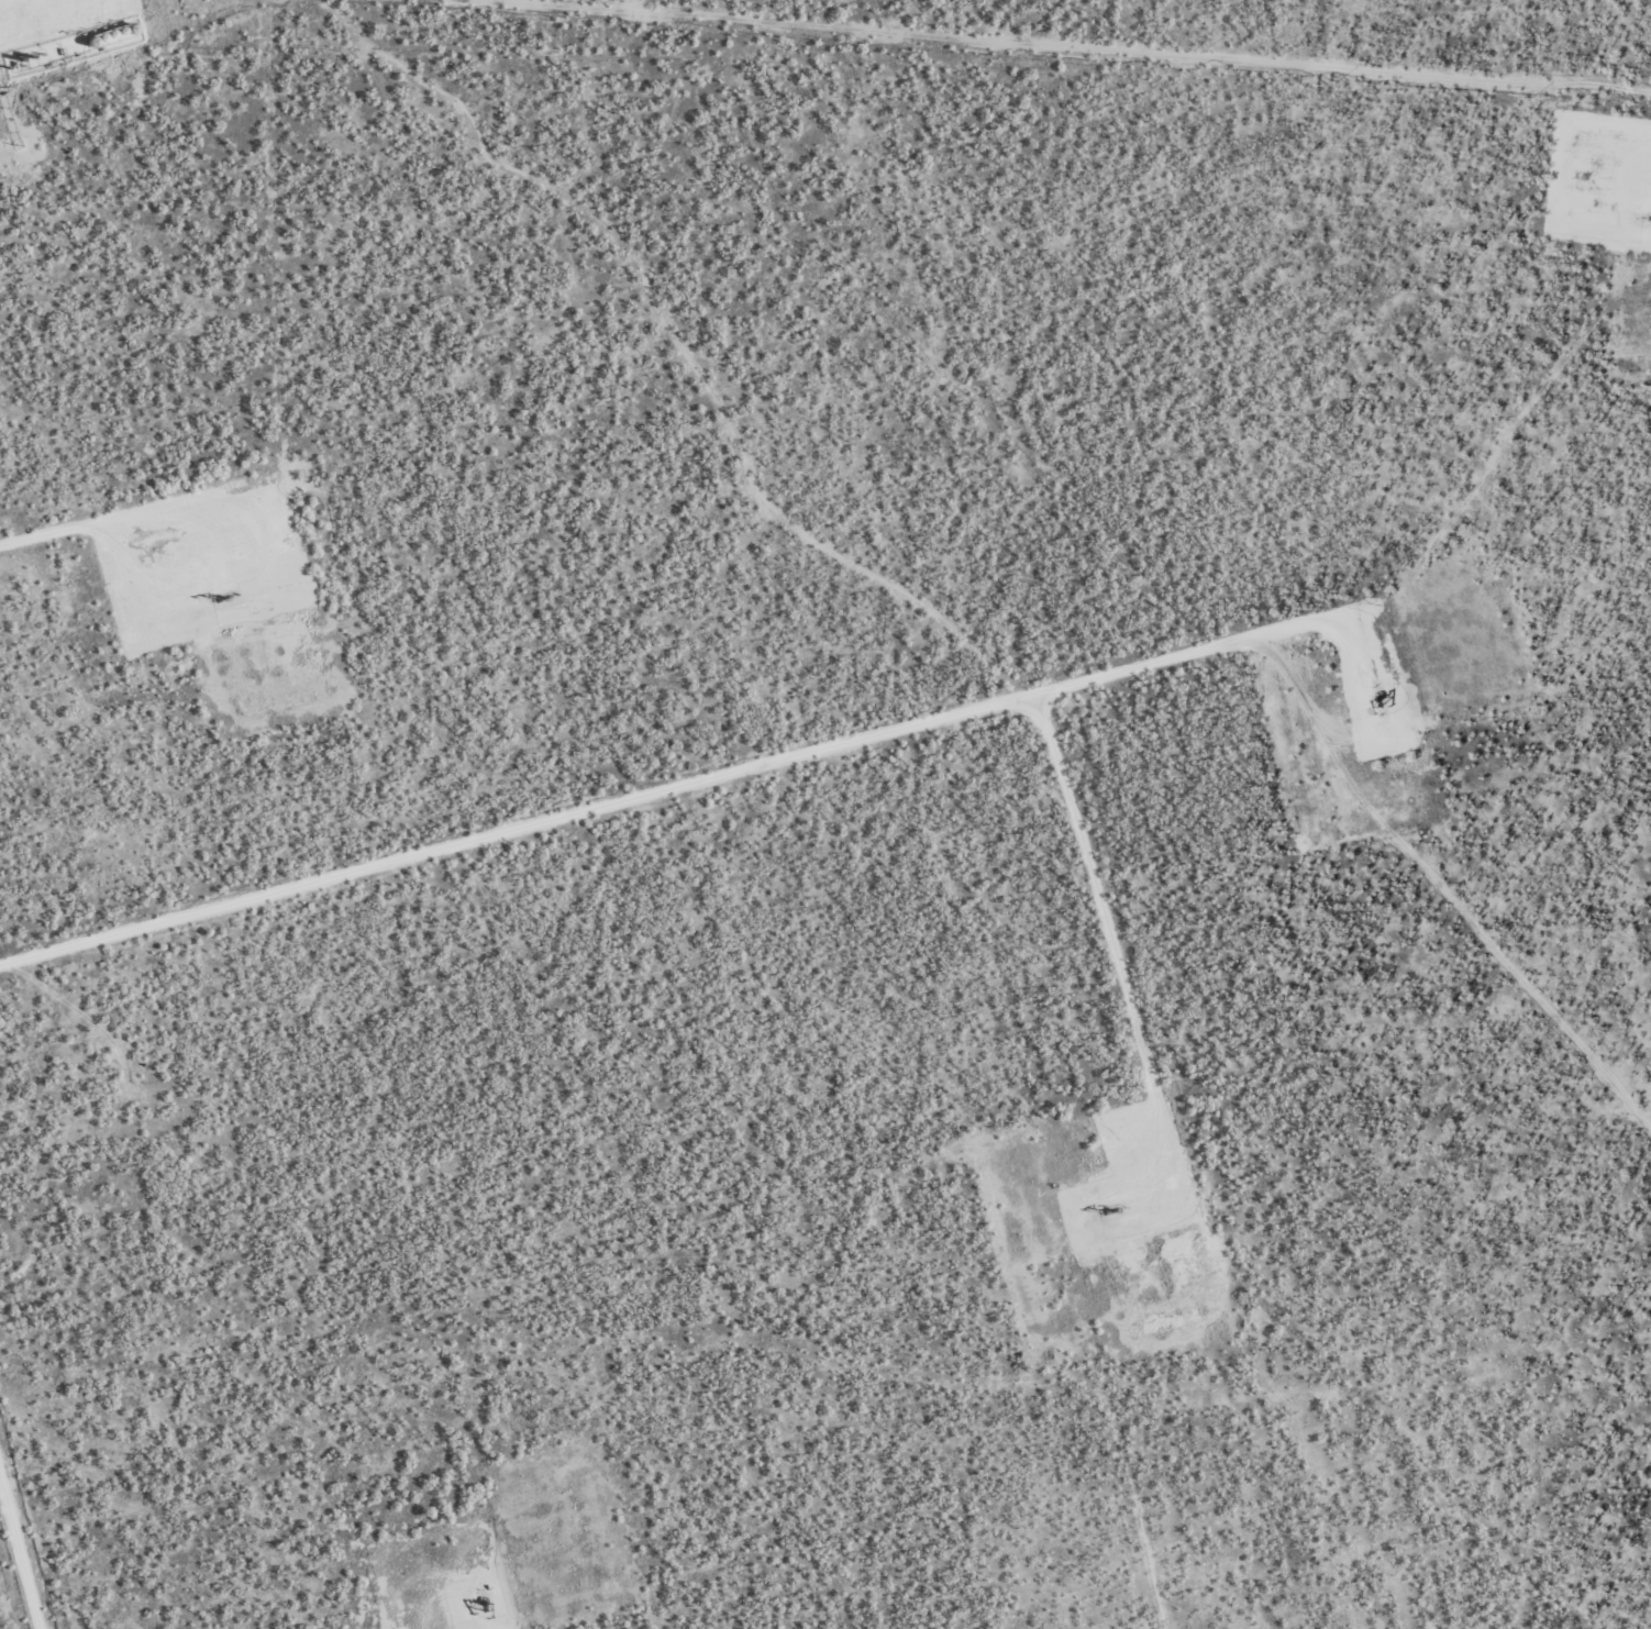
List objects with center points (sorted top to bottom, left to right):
road: (43, 13)
road: (135, 512)
road: (691, 787)
road: (1117, 958)
road: (21, 1550)

